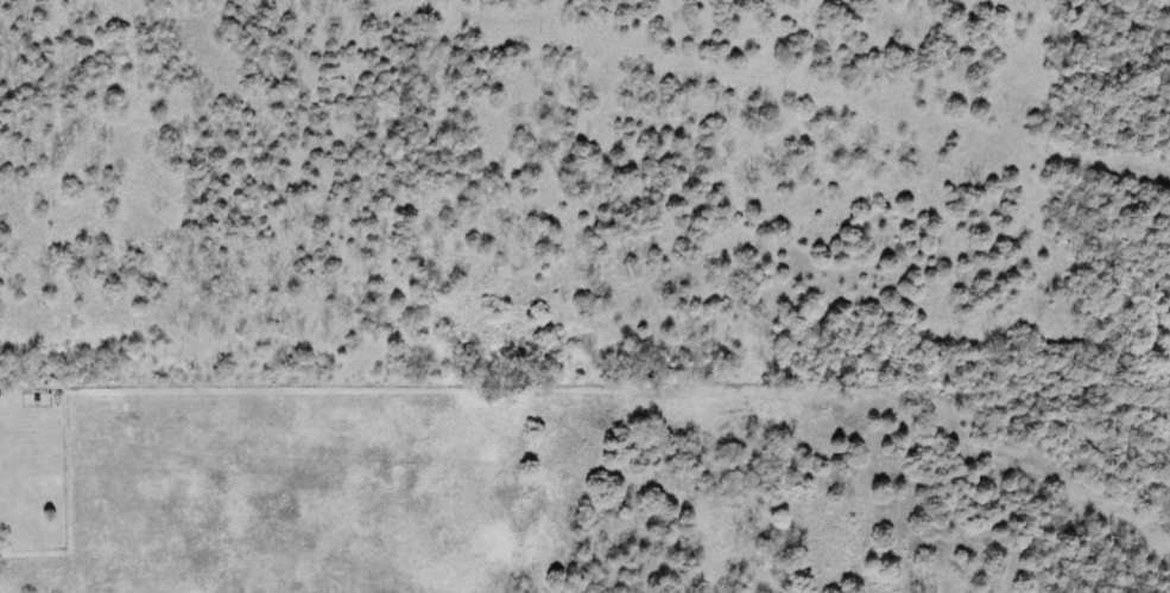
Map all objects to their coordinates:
building: (1, 486)

